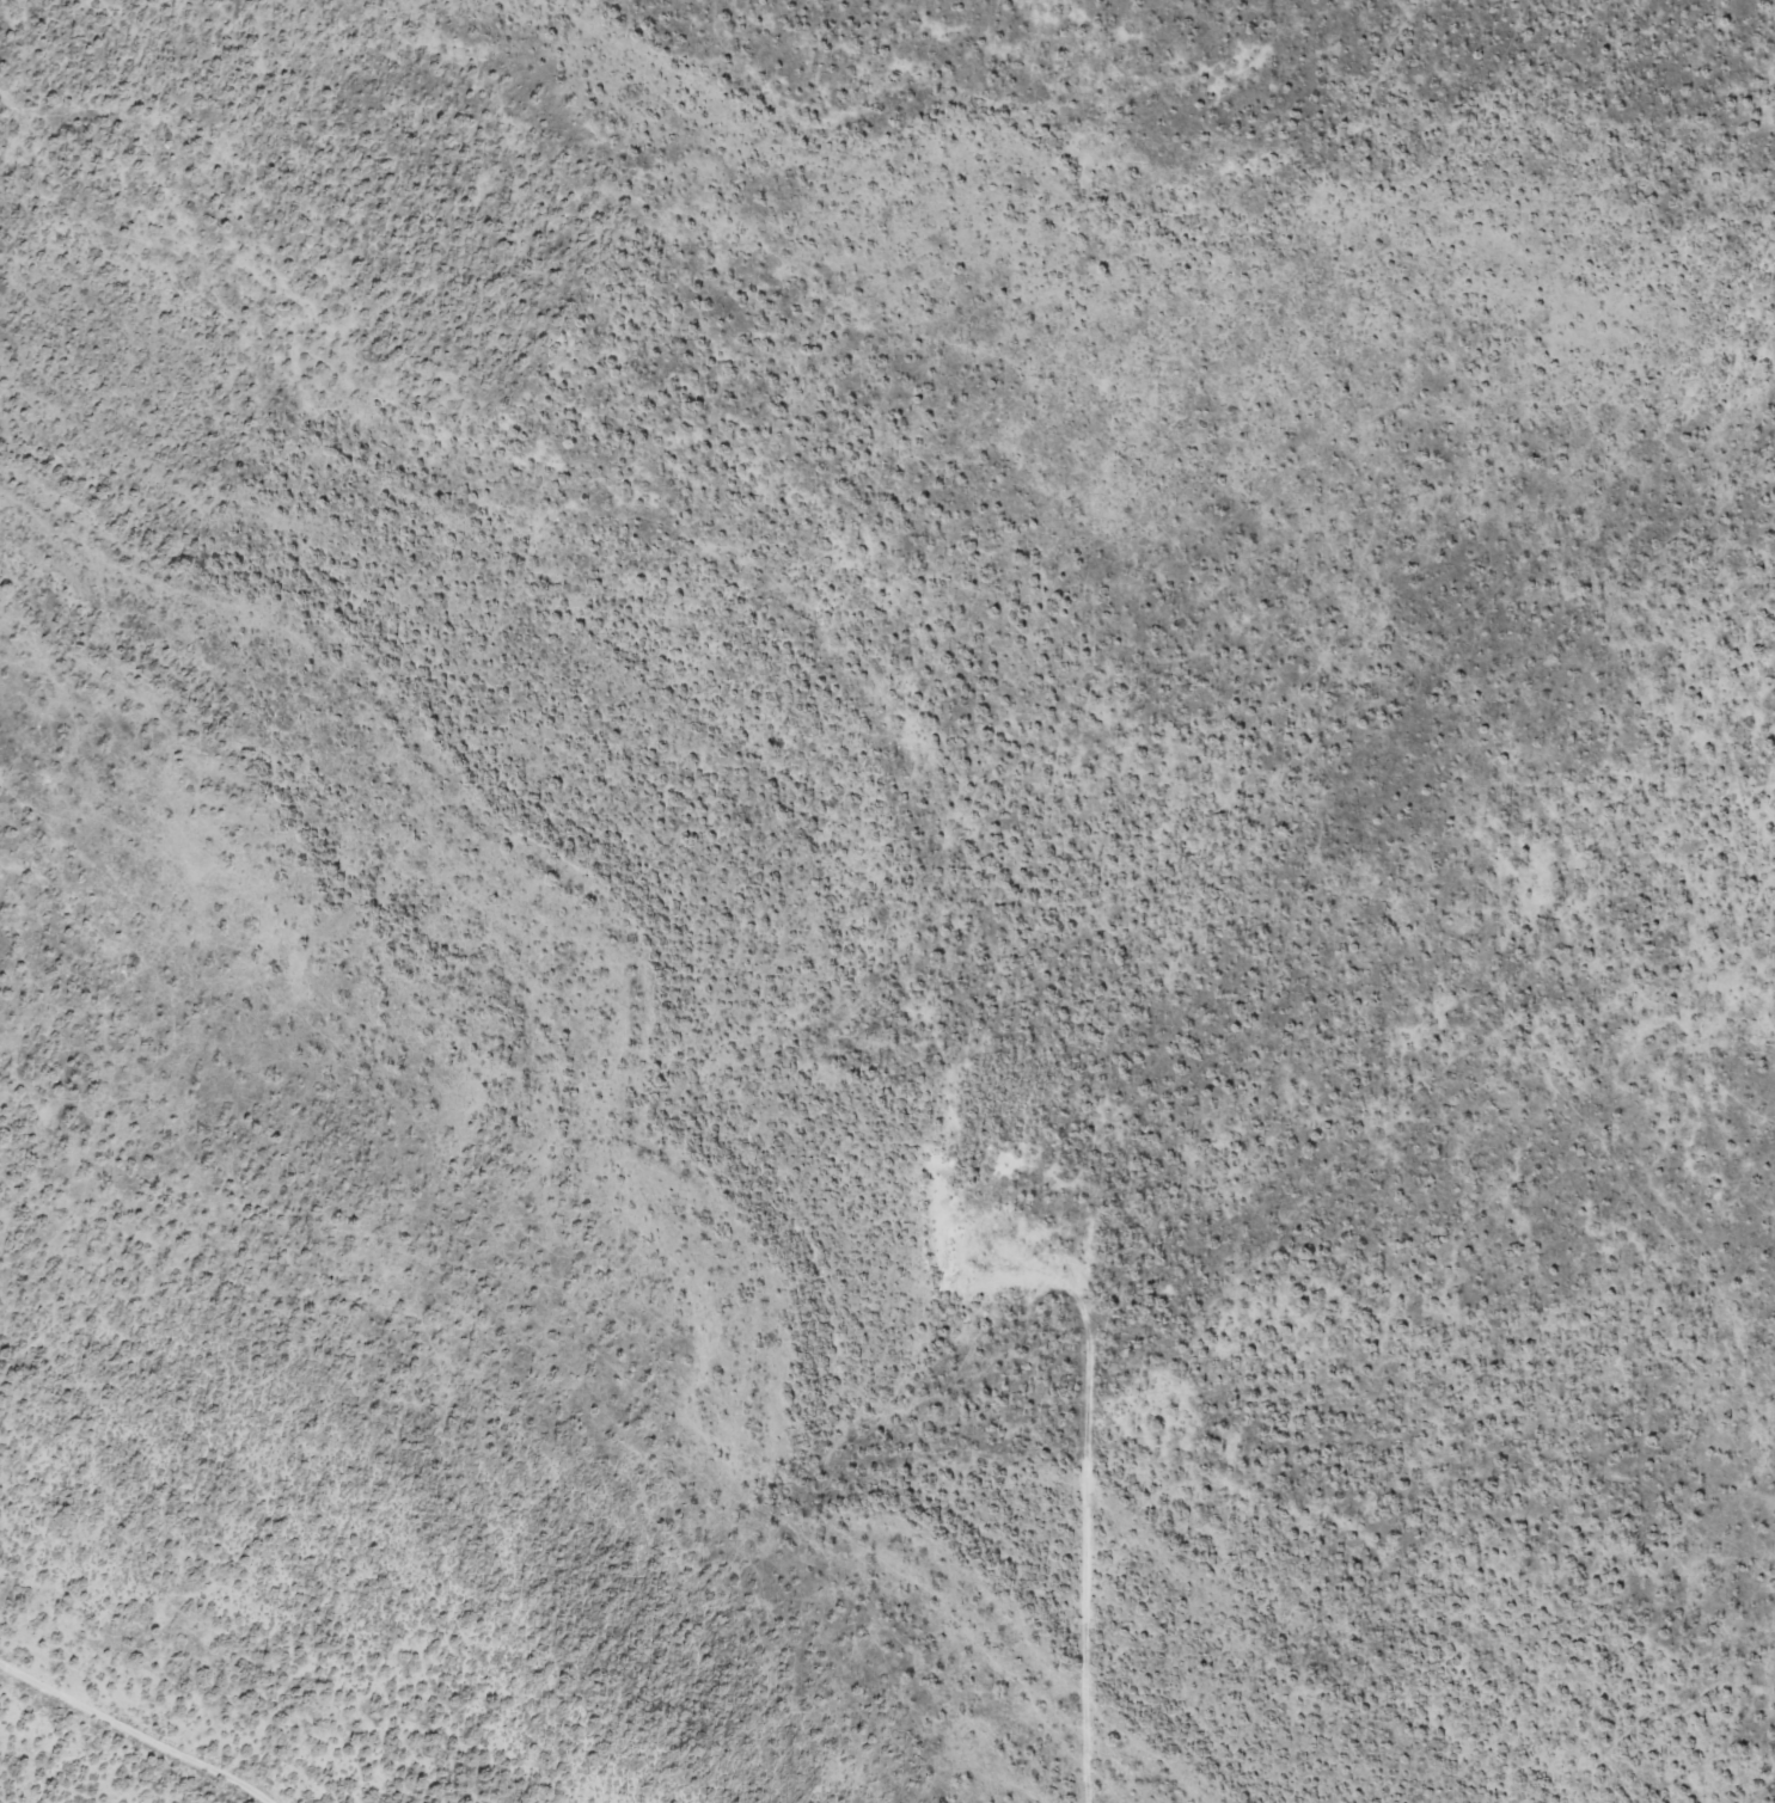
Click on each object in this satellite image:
road: (1126, 1505)
road: (105, 1742)

